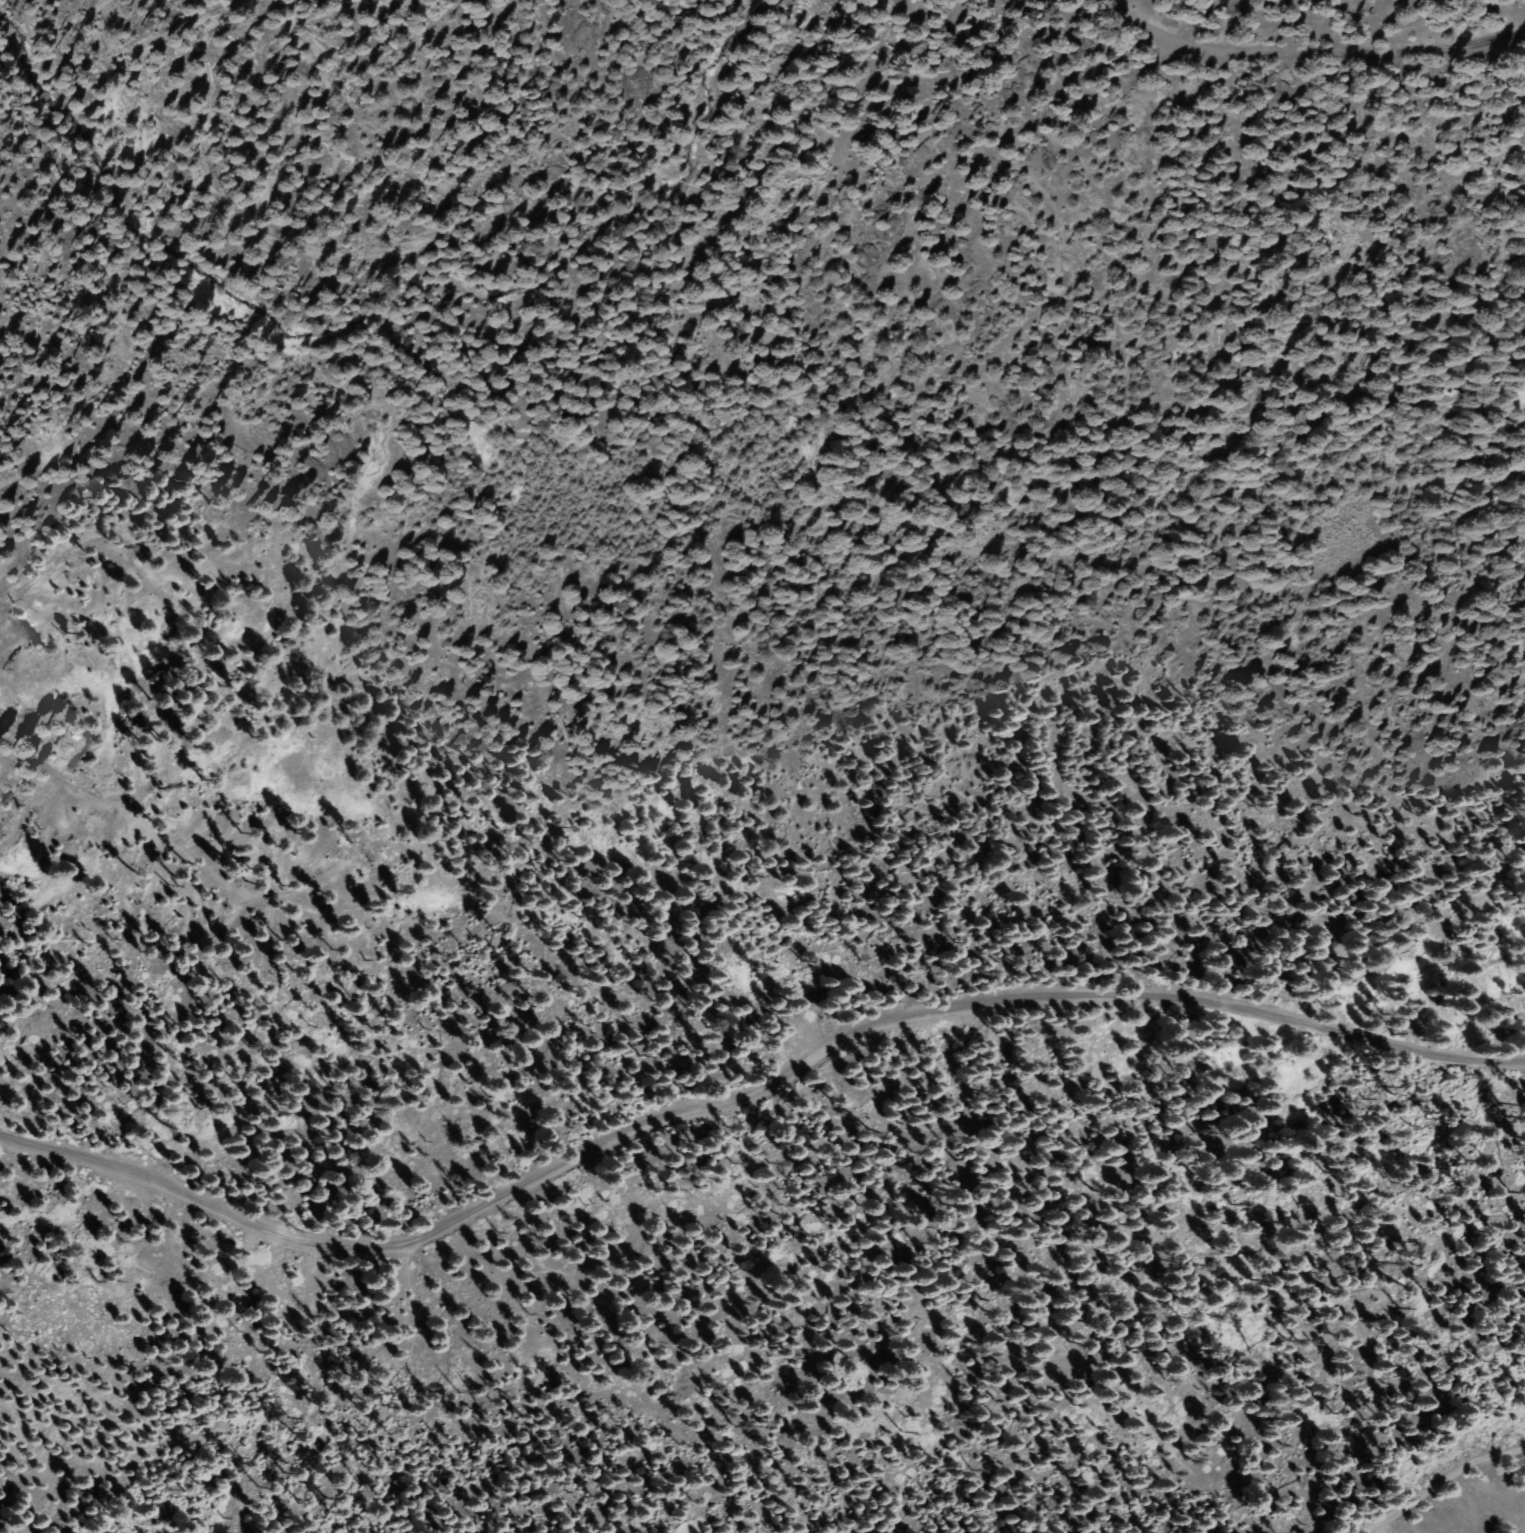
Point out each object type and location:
road: (1309, 52)
building: (1518, 529)
road: (750, 1092)
road: (1448, 1483)

